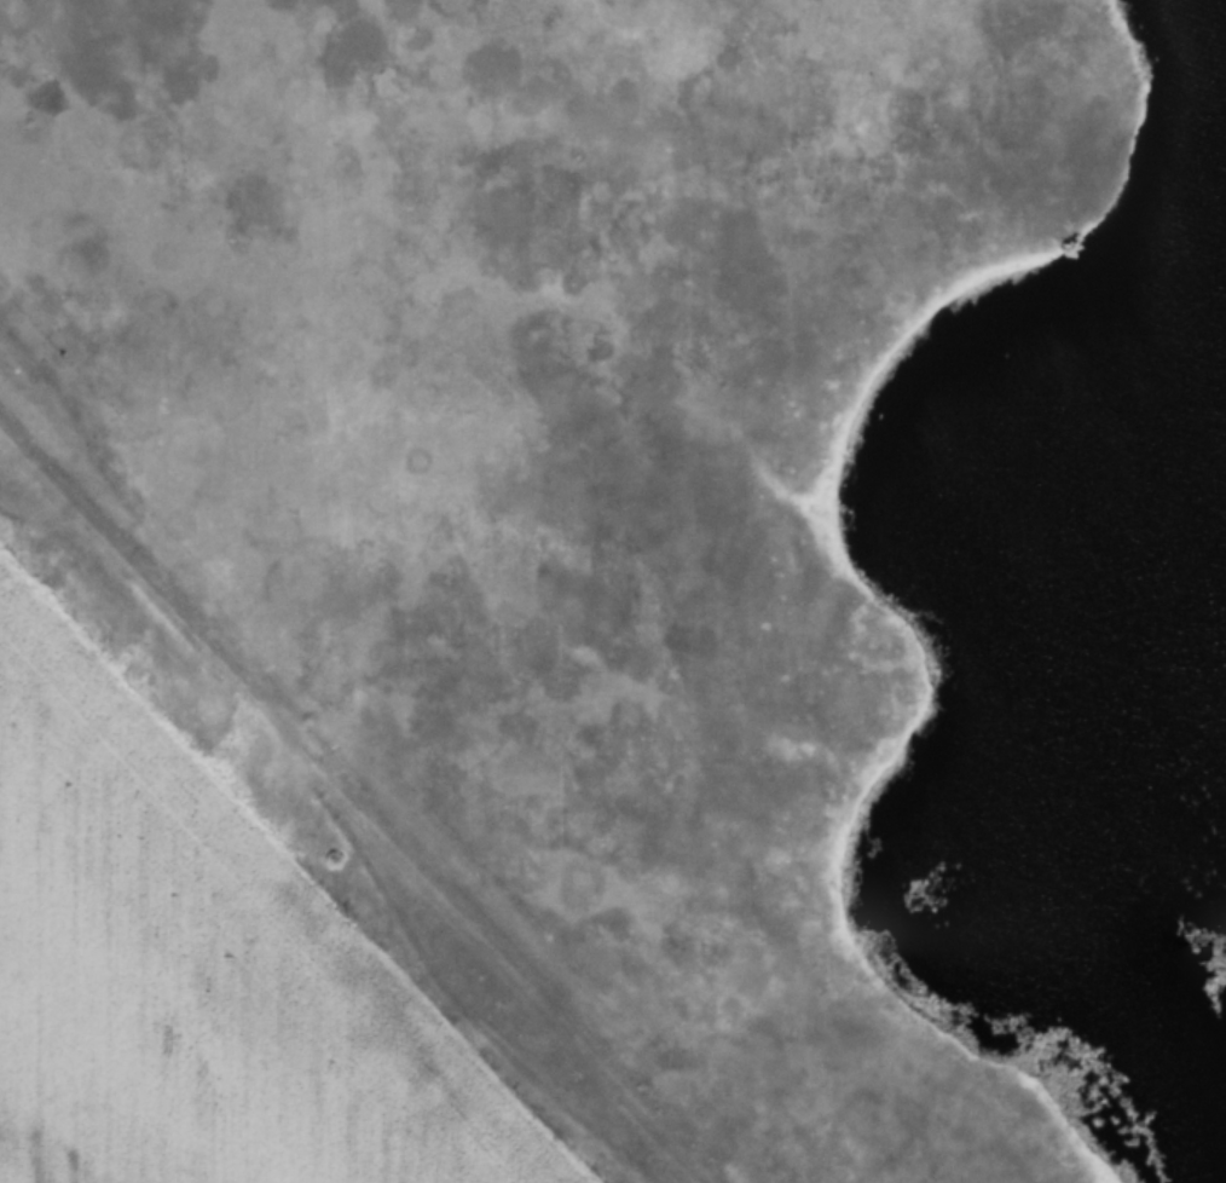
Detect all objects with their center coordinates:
crop: (191, 979)

